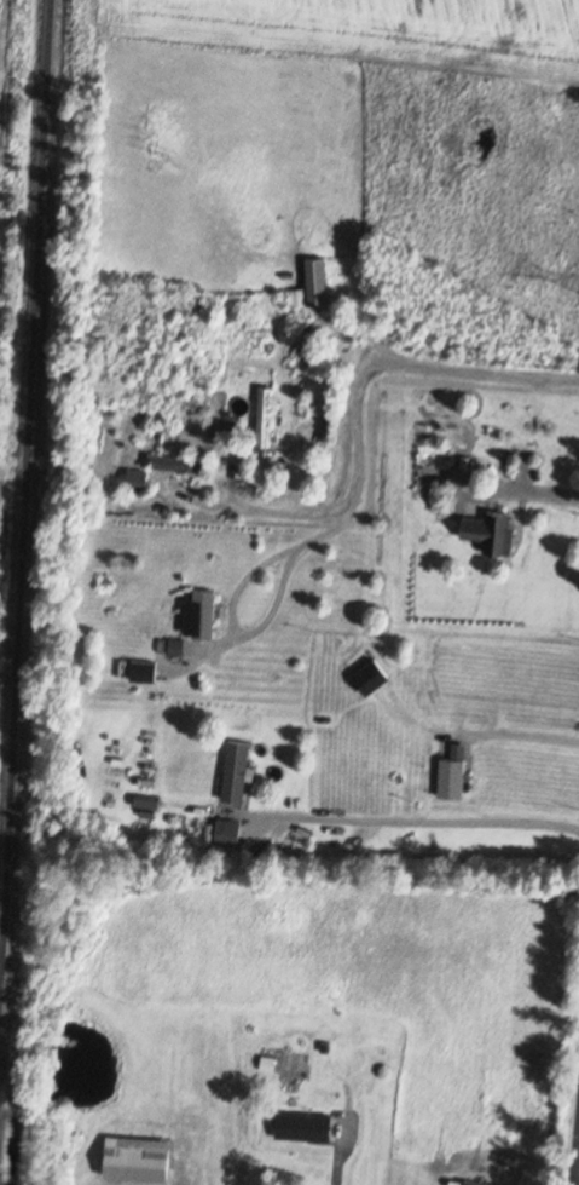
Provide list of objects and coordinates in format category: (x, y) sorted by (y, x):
building: (319, 282)
building: (265, 415)
building: (181, 462)
building: (140, 481)
building: (493, 528)
railway: (24, 539)
building: (205, 612)
building: (145, 672)
building: (374, 675)
building: (238, 771)
building: (454, 777)
building: (230, 833)
building: (308, 1127)
building: (141, 1158)
road: (577, 1172)

